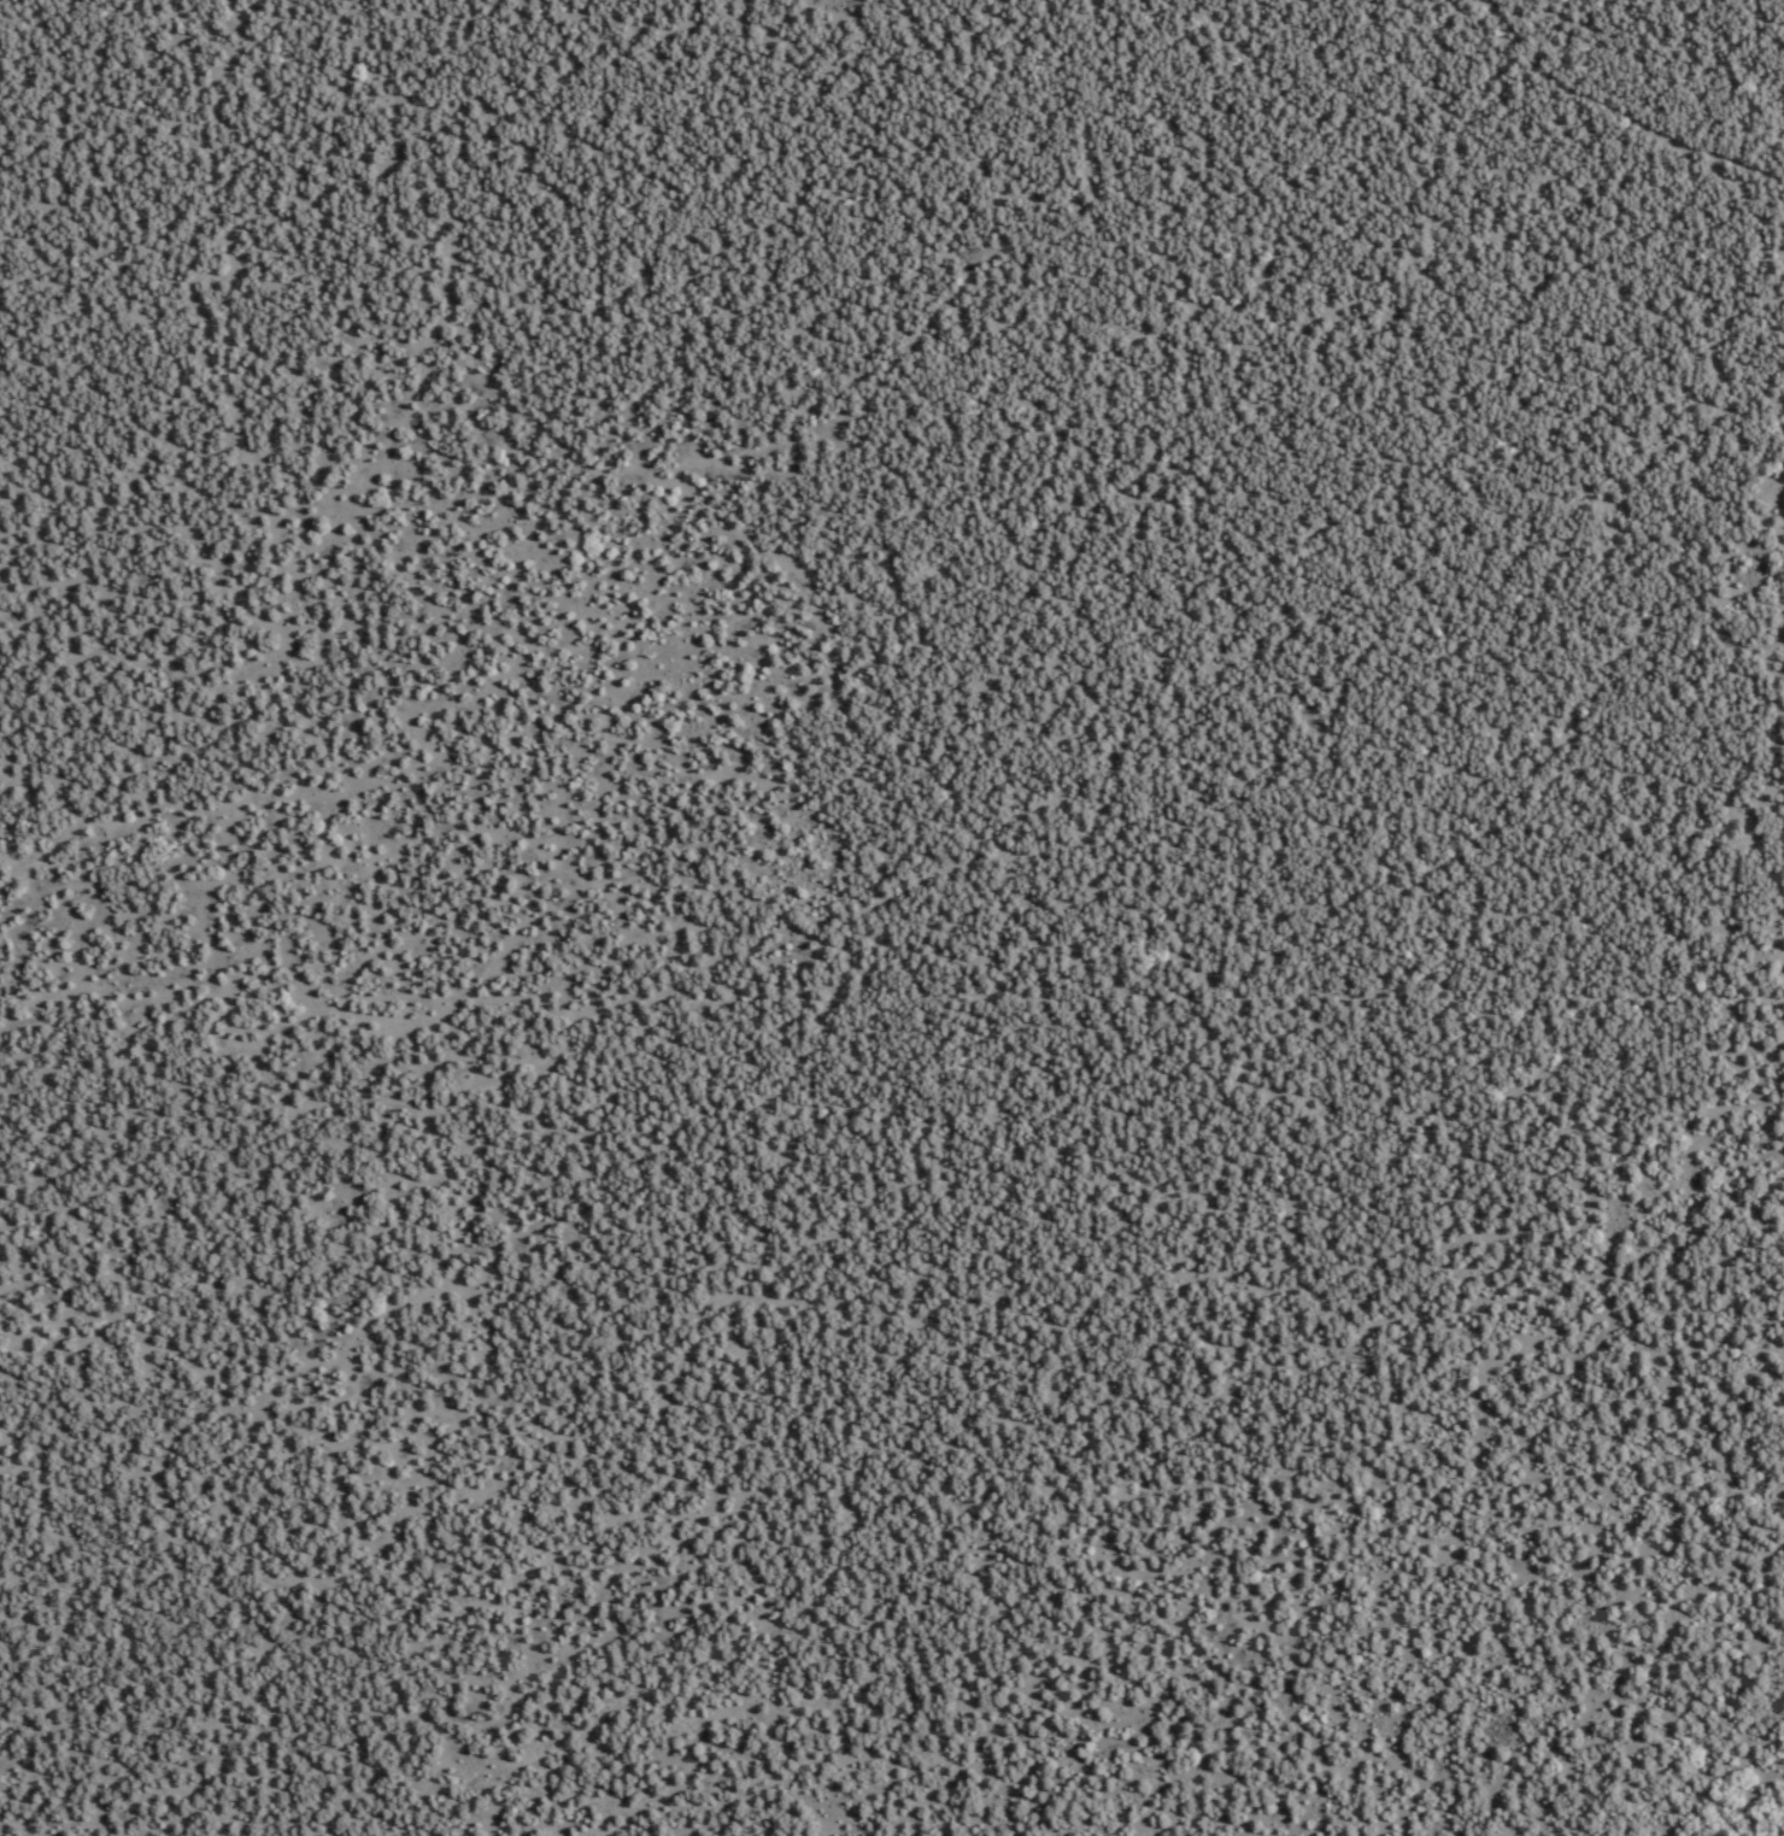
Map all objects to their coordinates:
road: (1692, 1724)

